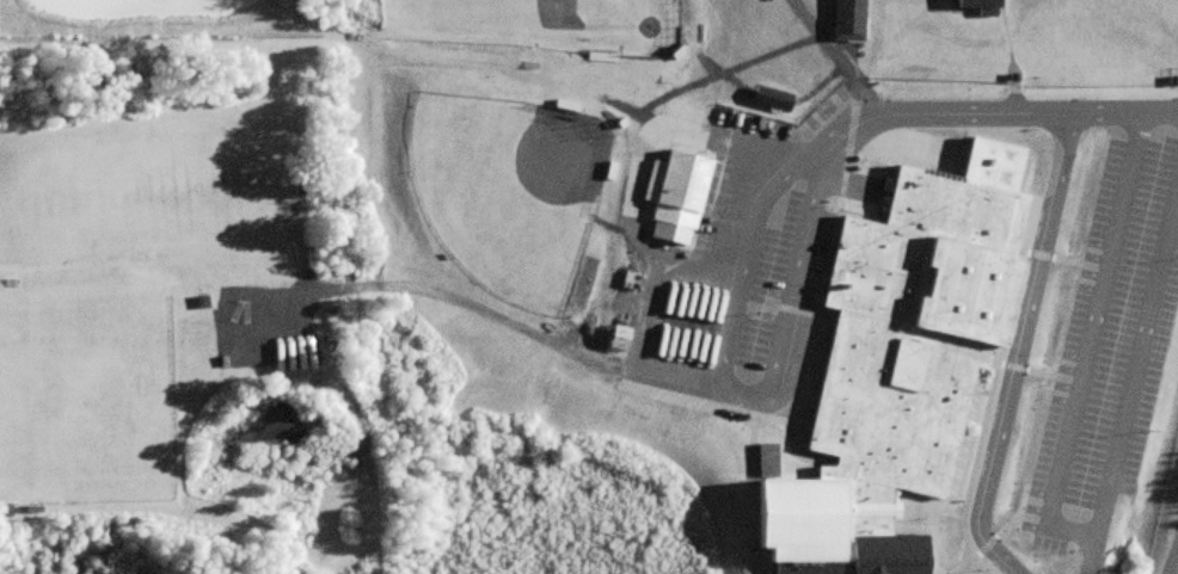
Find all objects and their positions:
building: (978, 4)
park: (542, 24)
road: (980, 115)
park: (510, 190)
building: (677, 196)
road: (1096, 305)
building: (621, 338)
building: (898, 371)
road: (1014, 486)
building: (6, 511)
road: (1006, 535)

